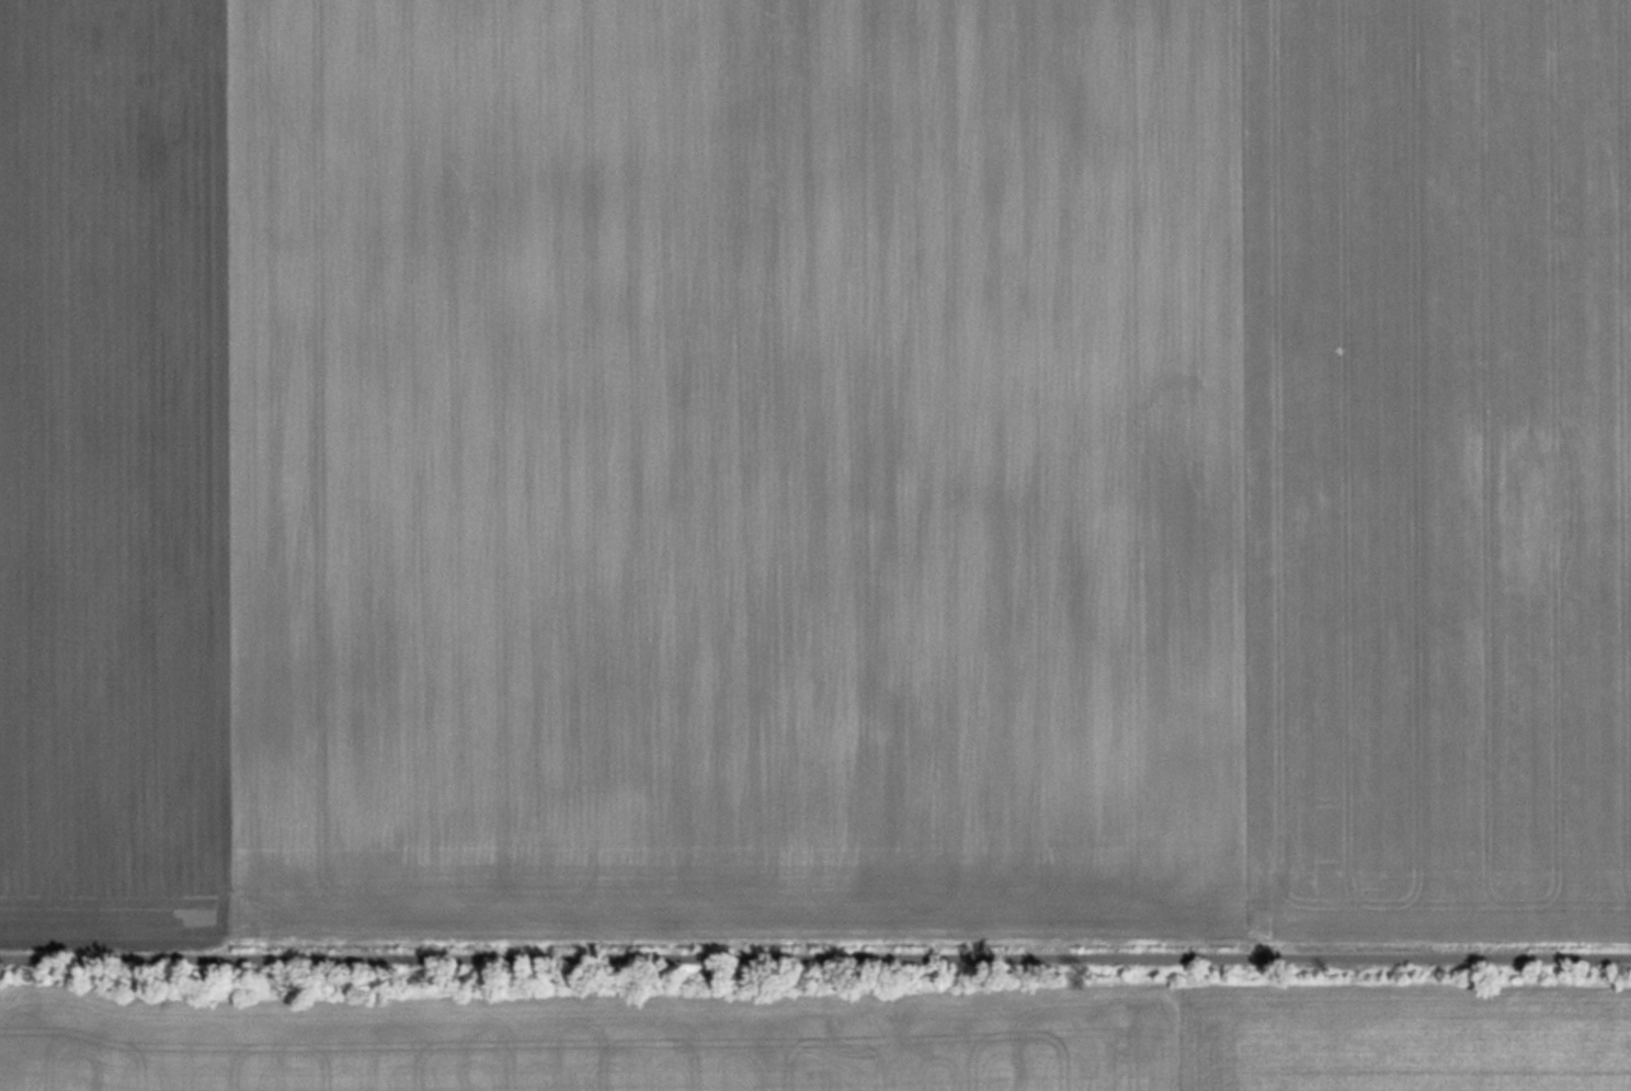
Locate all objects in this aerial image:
road: (816, 954)

